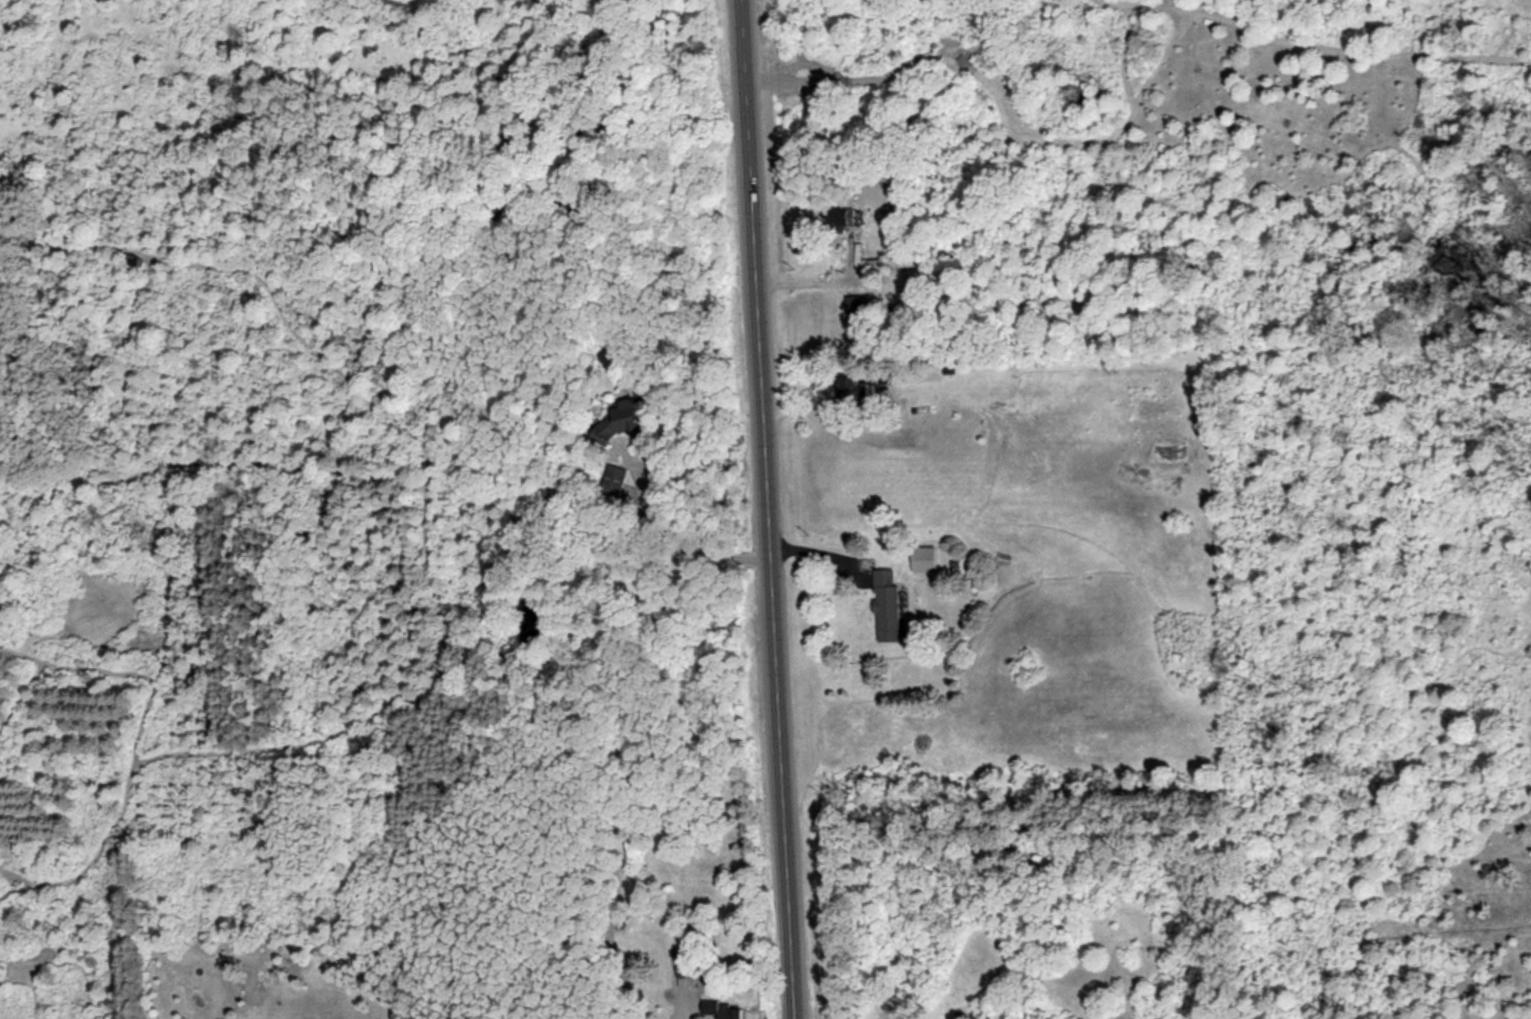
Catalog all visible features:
building: (846, 218)
building: (894, 265)
building: (856, 307)
building: (863, 389)
building: (625, 425)
building: (618, 480)
road: (769, 509)
building: (891, 606)
building: (690, 973)
building: (726, 1011)

